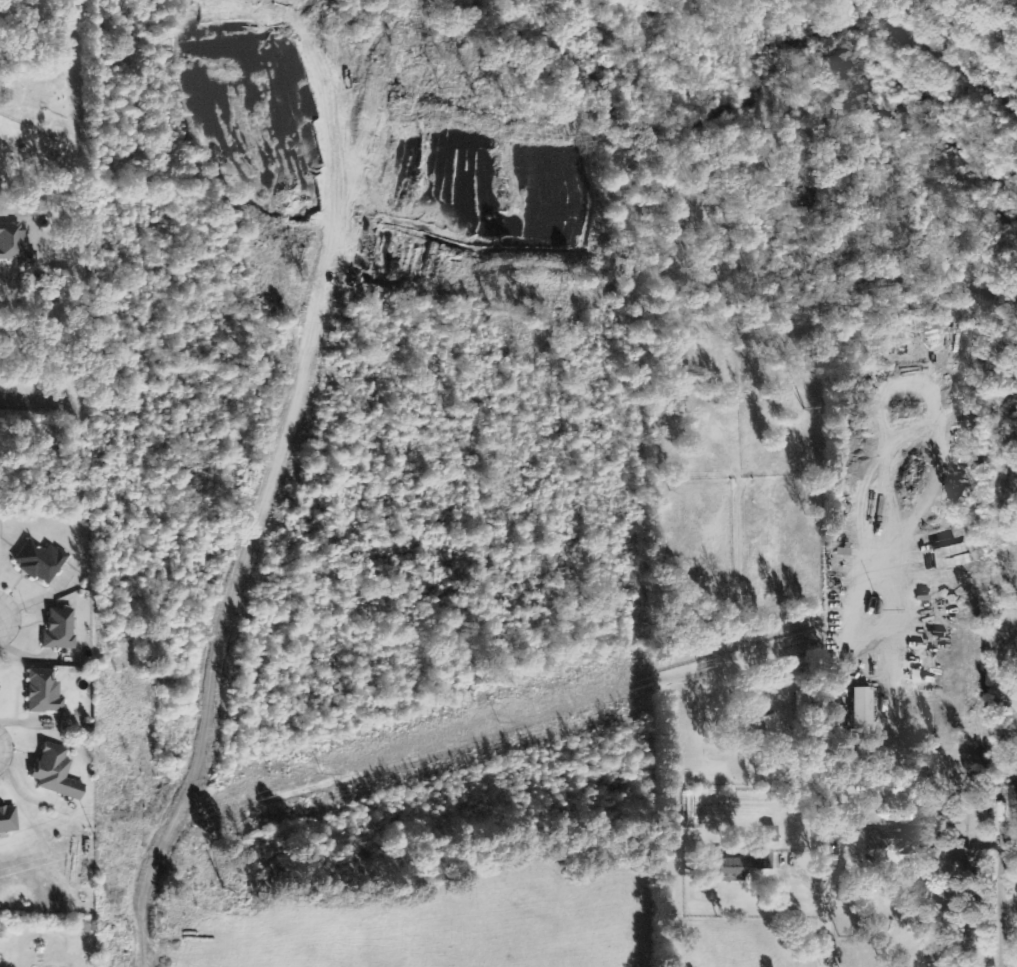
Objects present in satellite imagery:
building: (16, 245)
road: (41, 403)
building: (41, 561)
building: (60, 630)
building: (44, 692)
building: (863, 706)
building: (57, 773)
building: (1014, 797)
building: (8, 820)
building: (771, 834)
building: (889, 839)
building: (742, 867)
road: (821, 887)

